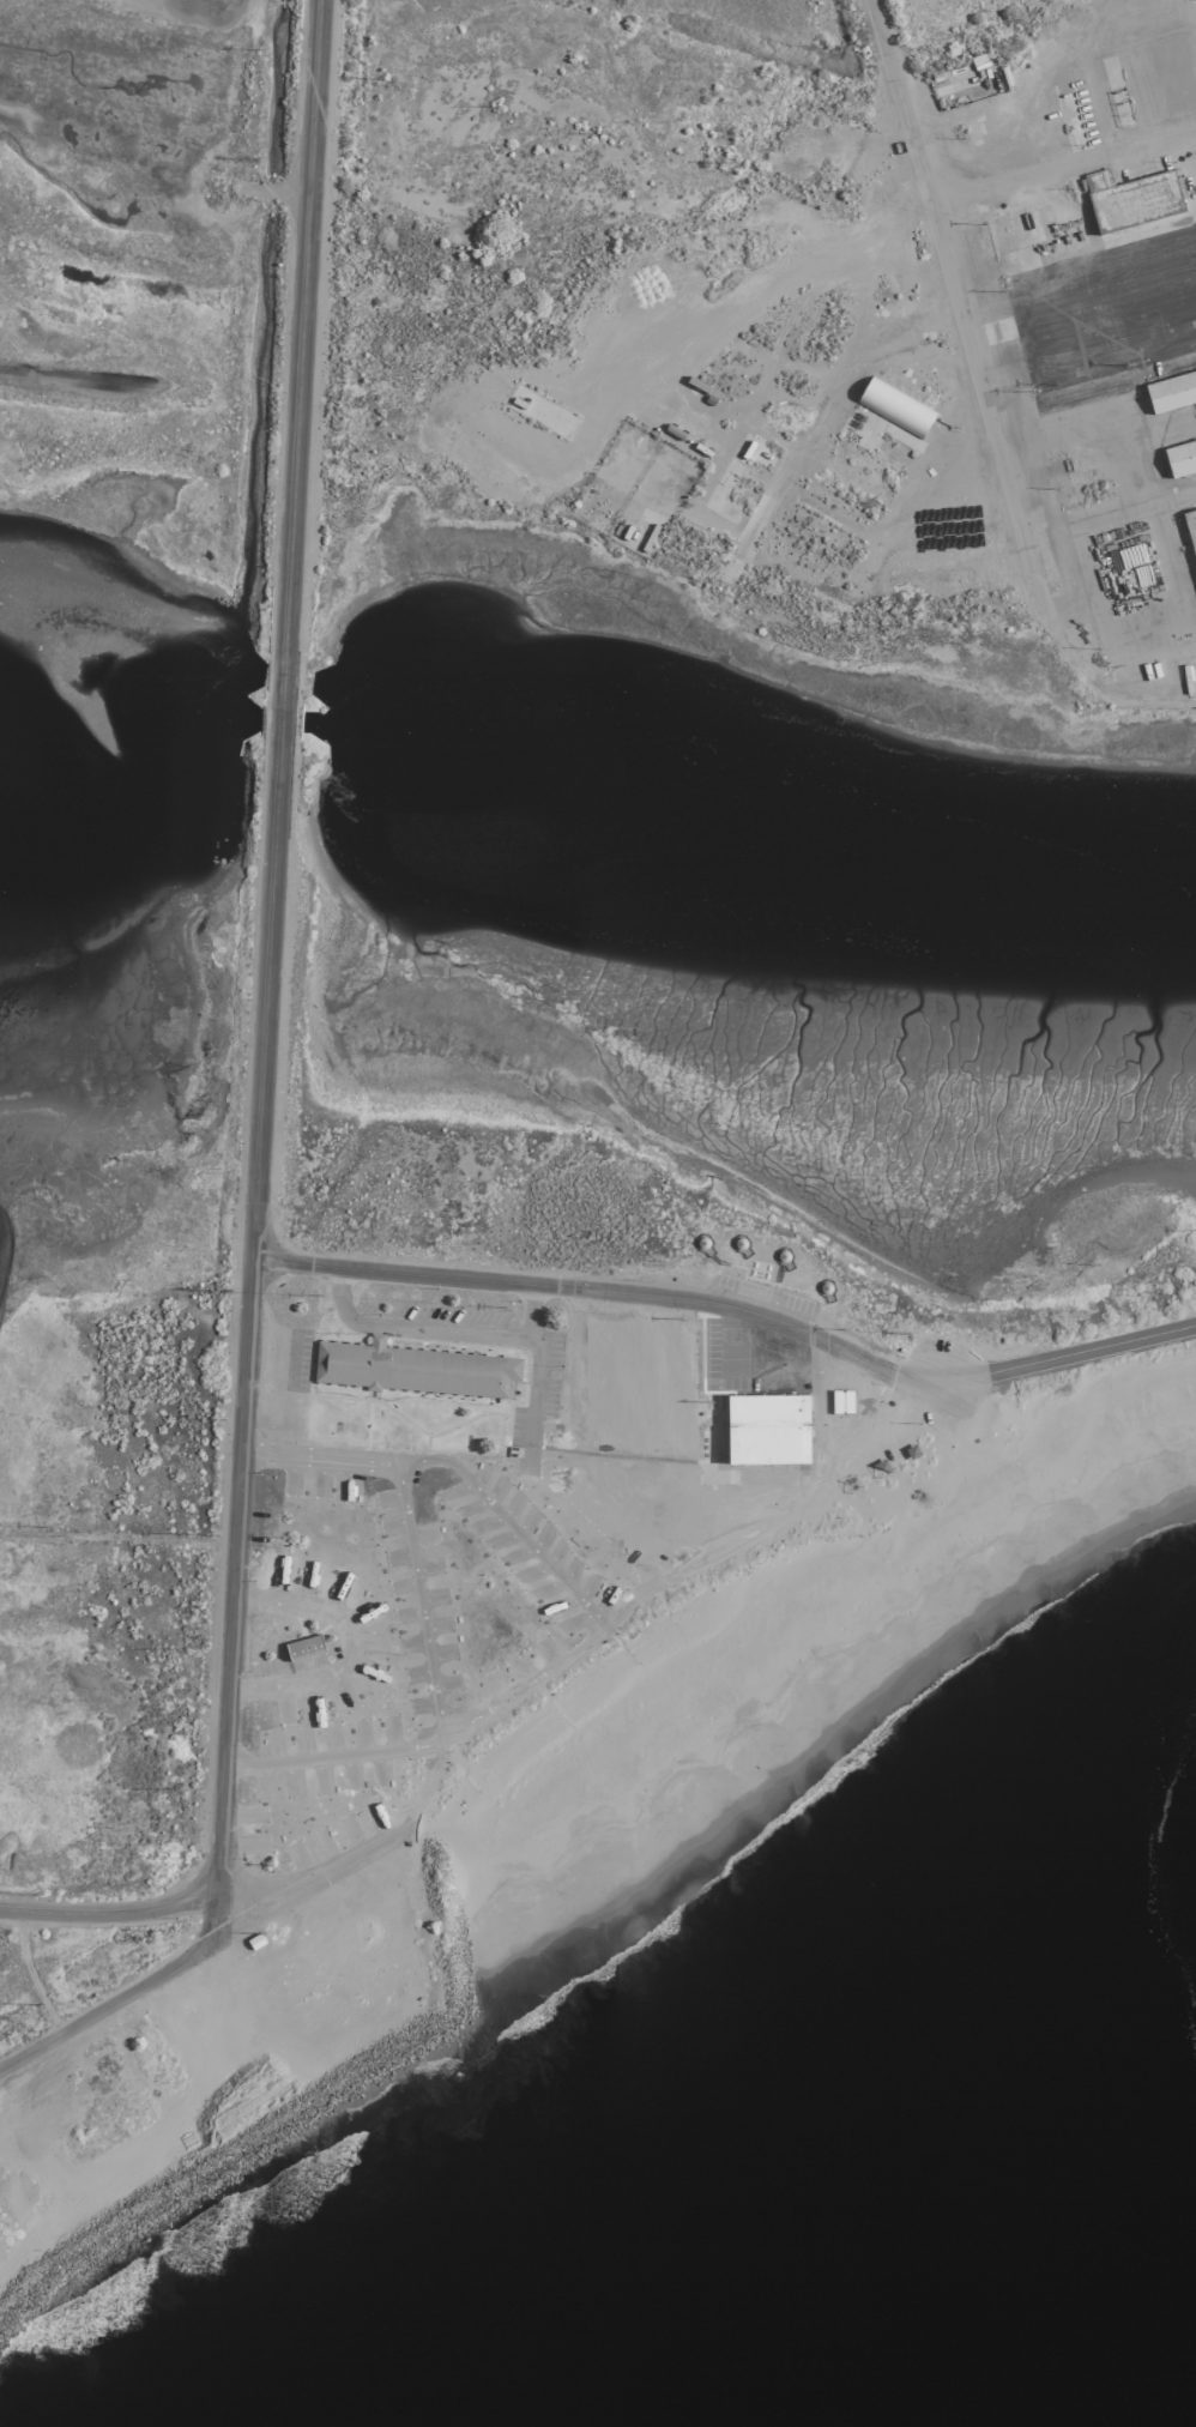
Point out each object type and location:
building: (1129, 198)
road: (295, 326)
road: (967, 342)
building: (1170, 388)
building: (893, 406)
building: (1179, 455)
building: (1190, 530)
road: (278, 693)
airport: (555, 1040)
road: (605, 1290)
road: (247, 1299)
road: (525, 1308)
road: (407, 1323)
building: (410, 1368)
road: (528, 1389)
building: (839, 1400)
building: (766, 1426)
road: (117, 1538)
road: (678, 1575)
building: (301, 1644)
road: (116, 1913)
road: (135, 1987)

